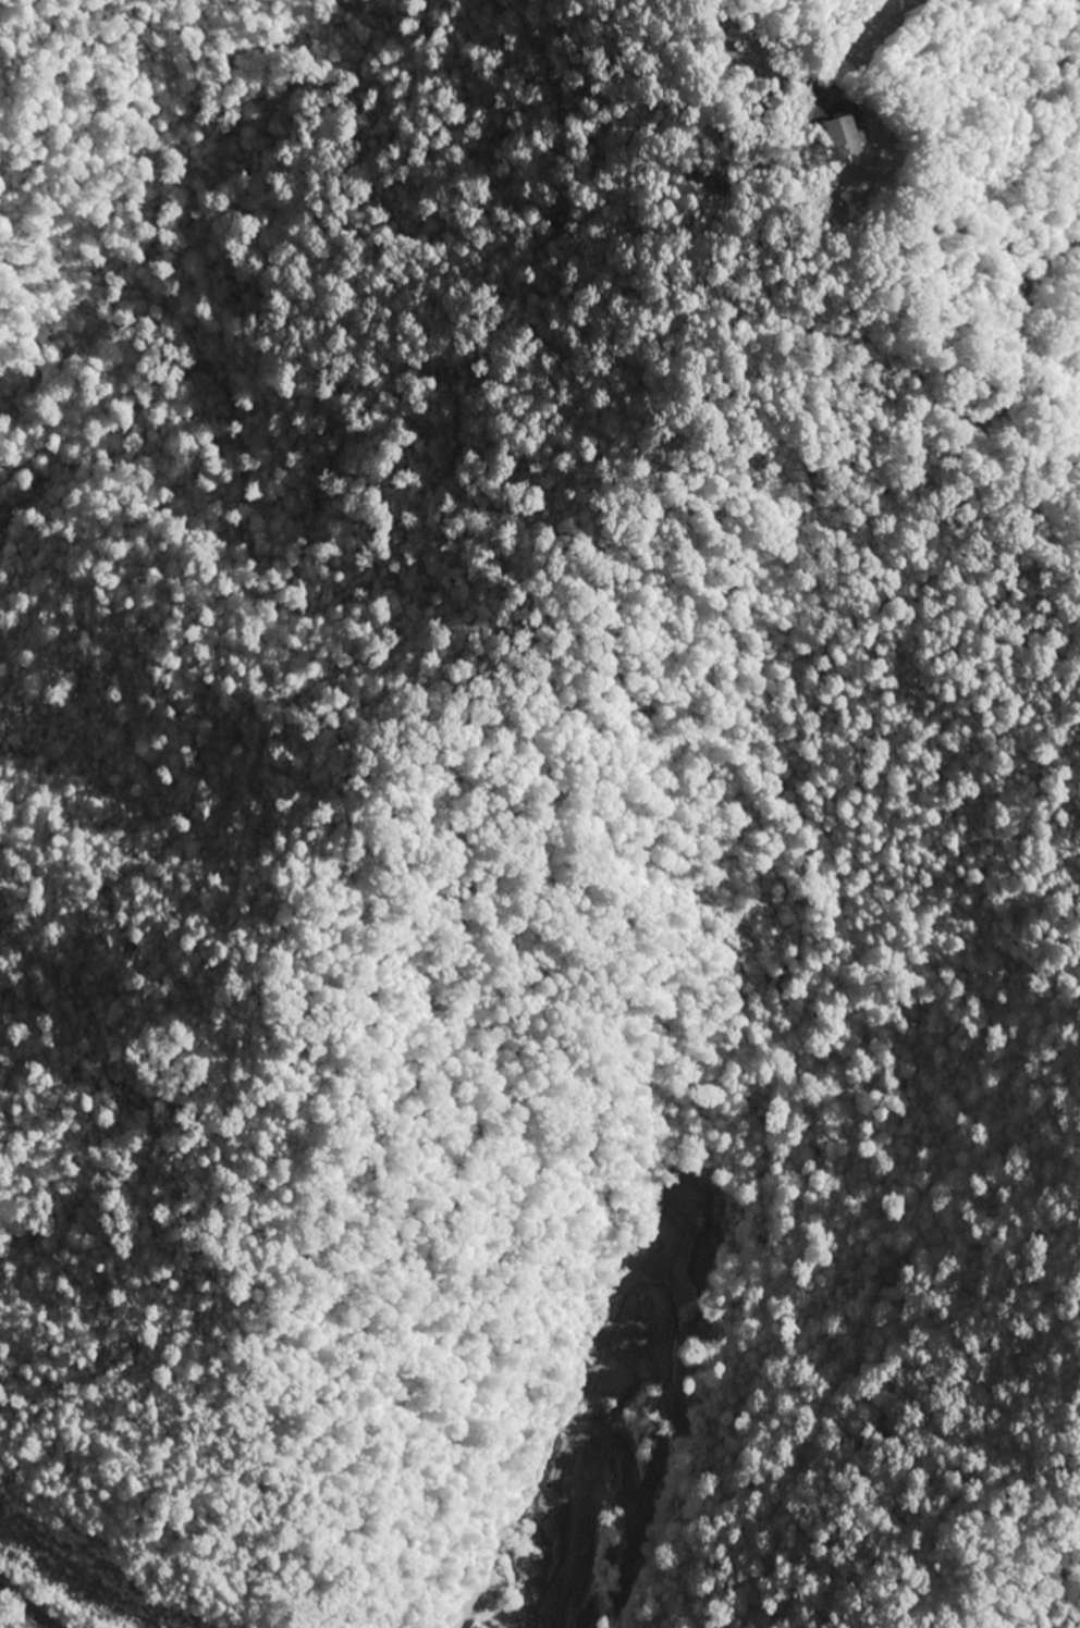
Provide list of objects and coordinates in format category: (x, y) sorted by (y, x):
building: (840, 143)
road: (20, 1611)
building: (482, 1624)

